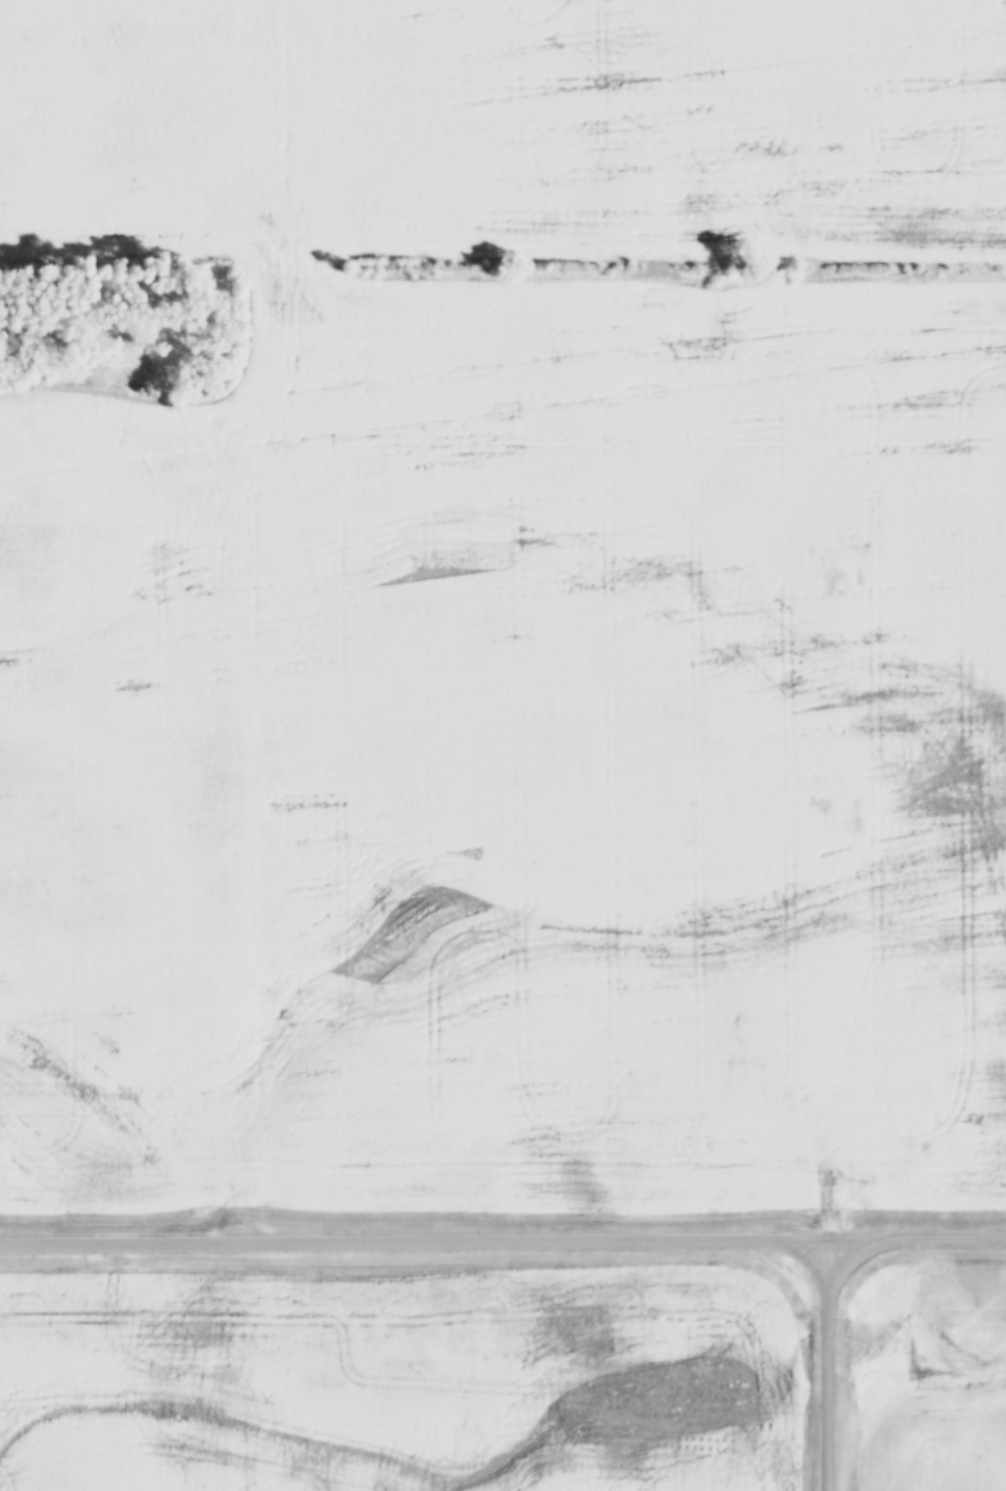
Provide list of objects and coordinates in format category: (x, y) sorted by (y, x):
road: (918, 1239)
road: (415, 1242)
road: (809, 1262)
road: (828, 1365)

